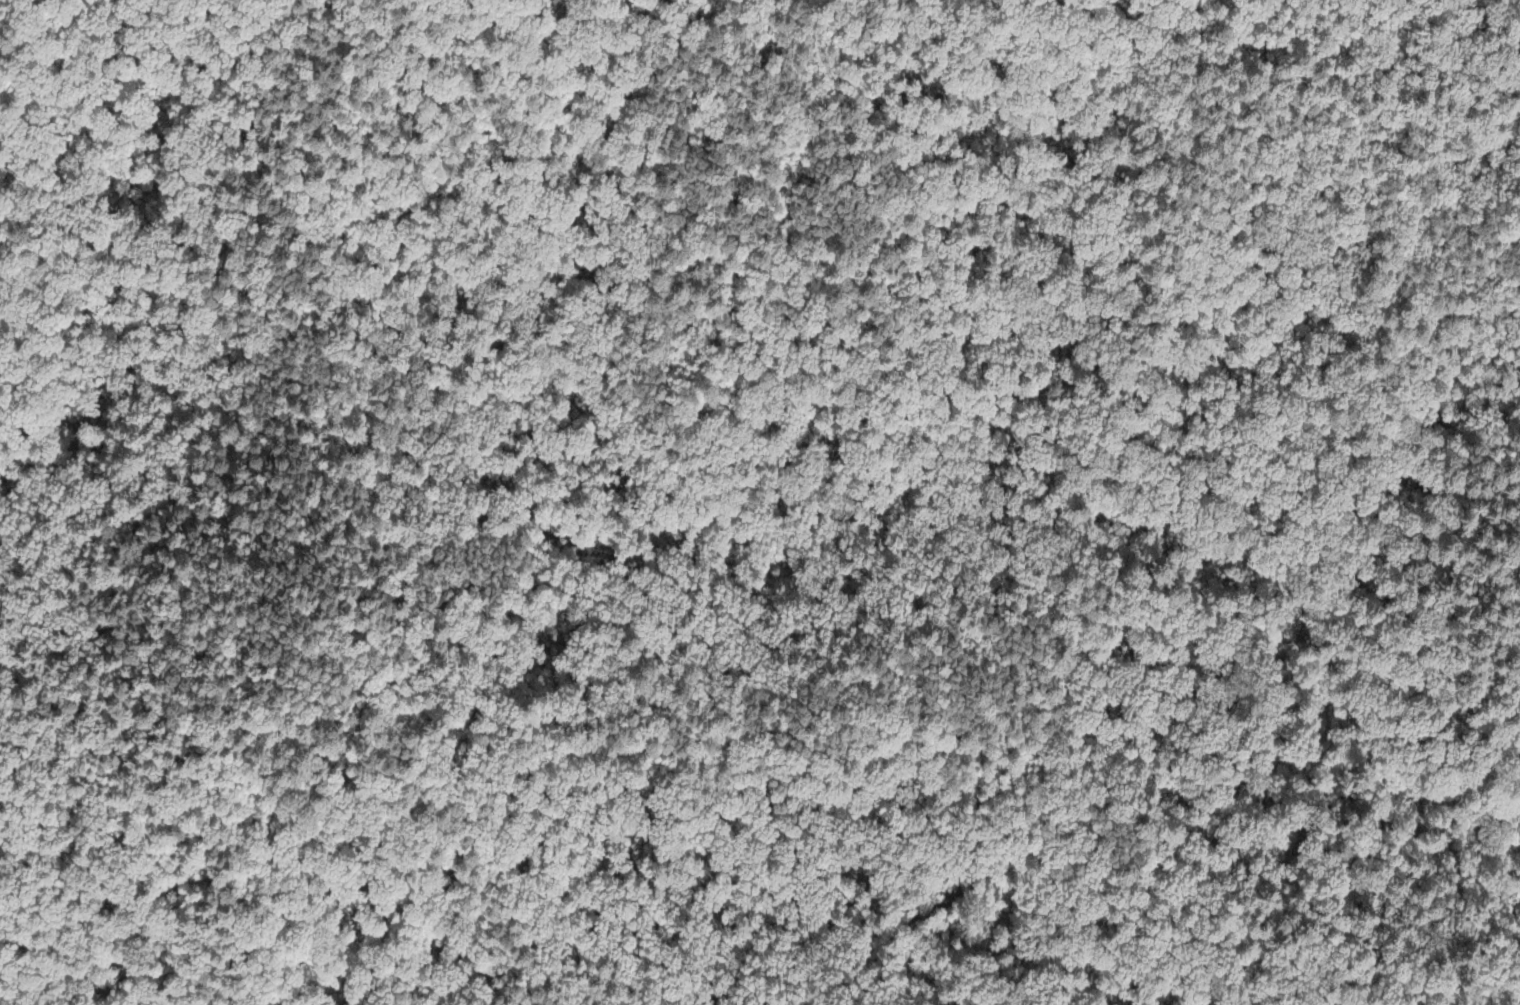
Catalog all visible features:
road: (176, 36)

